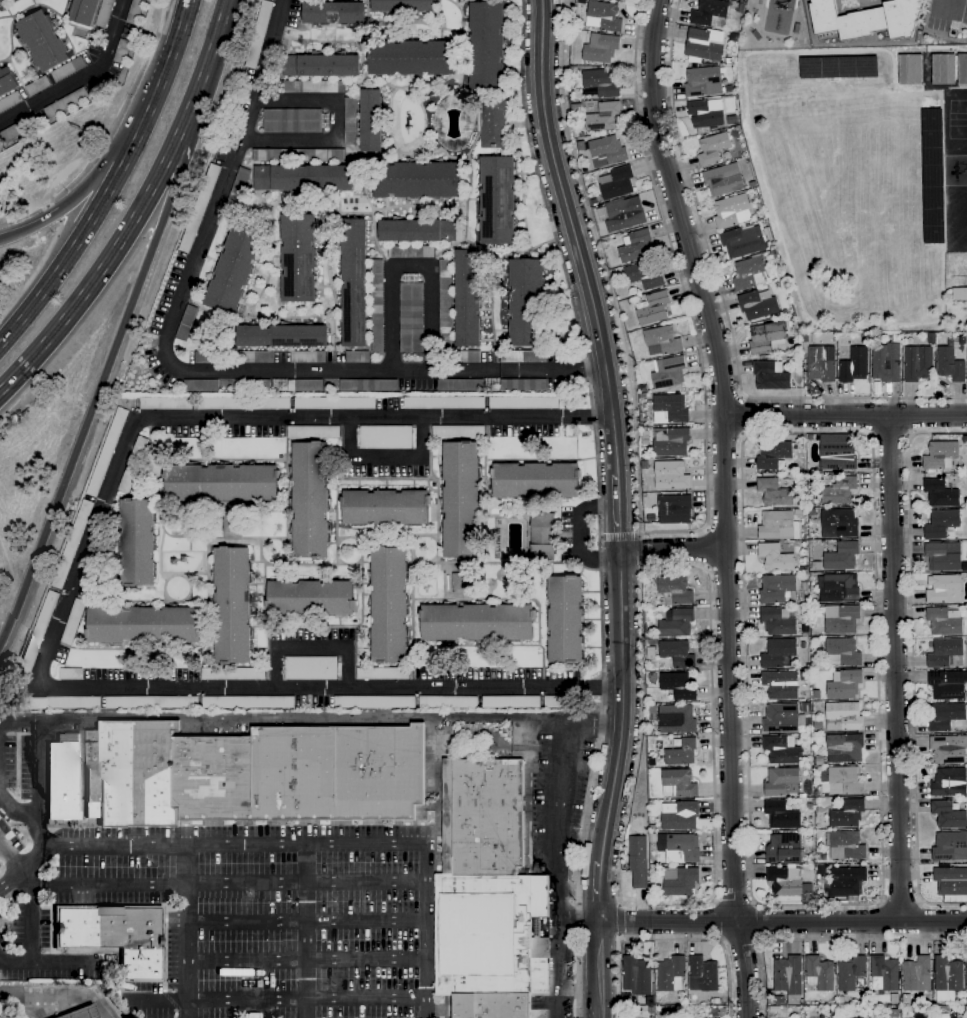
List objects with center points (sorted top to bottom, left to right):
building: (0, 0)
building: (0, 1)
road: (938, 1)
road: (949, 4)
building: (402, 6)
building: (739, 8)
building: (83, 11)
building: (134, 12)
building: (104, 13)
building: (334, 13)
building: (710, 13)
parking lot: (946, 13)
road: (161, 15)
building: (603, 16)
building: (866, 19)
building: (258, 34)
building: (42, 41)
building: (704, 45)
building: (486, 46)
building: (600, 48)
building: (121, 51)
building: (411, 58)
building: (320, 66)
building: (838, 67)
building: (67, 69)
building: (573, 69)
building: (943, 69)
building: (962, 69)
building: (909, 70)
road: (81, 78)
building: (7, 81)
building: (703, 82)
building: (599, 84)
building: (36, 86)
building: (309, 87)
building: (9, 101)
building: (65, 103)
building: (575, 108)
building: (706, 115)
building: (603, 117)
park: (958, 120)
building: (292, 121)
building: (350, 121)
building: (371, 121)
building: (494, 123)
road: (334, 127)
building: (16, 130)
building: (576, 131)
road: (102, 149)
building: (712, 149)
building: (604, 151)
building: (299, 155)
road: (102, 163)
building: (931, 176)
building: (302, 178)
building: (416, 180)
building: (723, 180)
road: (113, 182)
building: (616, 183)
building: (752, 184)
building: (238, 185)
building: (497, 200)
building: (594, 203)
building: (198, 208)
road: (137, 209)
road: (174, 210)
building: (731, 211)
road: (52, 214)
building: (621, 214)
building: (958, 224)
building: (417, 231)
road: (576, 239)
building: (741, 242)
building: (635, 246)
building: (411, 252)
building: (298, 258)
road: (410, 263)
building: (233, 269)
road: (33, 272)
building: (750, 273)
building: (644, 276)
building: (354, 283)
building: (959, 294)
building: (467, 298)
building: (526, 302)
building: (757, 305)
building: (377, 306)
building: (445, 308)
building: (653, 309)
road: (724, 309)
building: (411, 317)
building: (790, 317)
building: (186, 322)
building: (281, 336)
building: (966, 337)
building: (767, 338)
building: (864, 339)
building: (931, 339)
road: (116, 341)
building: (662, 341)
building: (255, 357)
building: (308, 357)
building: (356, 357)
building: (468, 357)
building: (523, 357)
building: (211, 358)
building: (818, 359)
building: (886, 363)
building: (918, 363)
building: (950, 365)
building: (854, 366)
road: (192, 371)
building: (668, 372)
building: (771, 376)
building: (522, 385)
building: (200, 386)
building: (252, 386)
building: (304, 386)
building: (368, 386)
building: (460, 386)
building: (642, 396)
building: (165, 403)
building: (244, 403)
building: (334, 403)
building: (443, 403)
building: (523, 403)
building: (669, 409)
road: (845, 415)
road: (740, 416)
building: (313, 432)
building: (458, 432)
road: (888, 435)
building: (386, 437)
building: (671, 442)
building: (107, 452)
building: (838, 452)
building: (644, 453)
building: (773, 454)
building: (940, 456)
road: (384, 458)
building: (133, 464)
building: (644, 465)
building: (671, 476)
building: (535, 480)
building: (221, 483)
building: (156, 485)
building: (839, 490)
building: (774, 492)
building: (940, 493)
building: (310, 500)
building: (460, 500)
road: (725, 504)
road: (597, 505)
building: (385, 507)
building: (674, 509)
building: (799, 513)
building: (811, 513)
road: (618, 515)
building: (839, 523)
building: (774, 524)
building: (941, 524)
building: (228, 525)
road: (669, 533)
road: (579, 534)
building: (542, 536)
road: (639, 536)
road: (618, 537)
building: (136, 542)
building: (72, 544)
road: (638, 550)
road: (673, 550)
building: (943, 556)
building: (842, 557)
building: (775, 558)
building: (802, 564)
road: (640, 565)
building: (816, 565)
building: (804, 569)
building: (459, 581)
building: (804, 582)
building: (942, 587)
building: (776, 588)
building: (837, 588)
building: (675, 590)
building: (310, 598)
road: (64, 604)
building: (231, 605)
building: (388, 606)
building: (565, 619)
building: (841, 620)
building: (777, 621)
building: (73, 622)
building: (477, 622)
building: (943, 622)
building: (676, 623)
building: (143, 625)
building: (805, 630)
building: (37, 634)
building: (803, 645)
road: (311, 647)
building: (844, 651)
building: (650, 652)
building: (777, 652)
building: (677, 654)
building: (946, 654)
road: (911, 661)
building: (310, 668)
road: (895, 668)
building: (71, 674)
building: (232, 674)
building: (382, 674)
building: (844, 684)
building: (947, 684)
building: (780, 685)
building: (678, 686)
building: (817, 695)
building: (150, 702)
building: (247, 702)
building: (375, 702)
building: (448, 702)
building: (511, 702)
building: (561, 702)
building: (59, 703)
road: (621, 706)
building: (805, 707)
building: (652, 709)
building: (843, 716)
road: (283, 717)
building: (945, 717)
building: (676, 719)
building: (782, 719)
road: (593, 725)
building: (818, 726)
building: (469, 732)
building: (649, 748)
building: (844, 749)
building: (948, 749)
building: (782, 750)
building: (467, 751)
building: (681, 753)
building: (818, 761)
building: (651, 762)
building: (252, 774)
building: (63, 777)
building: (782, 782)
building: (843, 782)
building: (949, 783)
road: (39, 784)
building: (678, 784)
building: (802, 796)
road: (16, 811)
building: (848, 813)
building: (781, 815)
building: (948, 815)
building: (681, 817)
building: (808, 837)
road: (235, 844)
building: (846, 846)
building: (679, 847)
building: (950, 847)
building: (784, 849)
road: (11, 856)
building: (638, 862)
road: (24, 867)
road: (556, 872)
building: (569, 874)
building: (680, 881)
building: (784, 881)
building: (847, 881)
building: (950, 881)
road: (228, 882)
road: (600, 891)
building: (487, 895)
road: (879, 900)
road: (900, 902)
road: (732, 903)
road: (694, 905)
road: (618, 906)
road: (31, 911)
road: (306, 919)
road: (618, 922)
road: (716, 922)
road: (782, 922)
road: (577, 923)
road: (757, 923)
road: (188, 930)
road: (425, 930)
road: (306, 931)
building: (116, 935)
road: (618, 937)
road: (826, 939)
road: (708, 940)
road: (741, 942)
road: (306, 959)
road: (14, 963)
road: (61, 963)
road: (600, 970)
building: (703, 973)
building: (850, 973)
building: (671, 974)
building: (819, 974)
building: (884, 974)
building: (966, 974)
building: (787, 975)
building: (916, 975)
building: (637, 976)
road: (616, 978)
building: (948, 978)
road: (61, 993)
road: (307, 997)
building: (626, 998)
building: (894, 999)
road: (162, 1000)
building: (779, 1000)
building: (771, 1009)
building: (82, 1013)
gas station: (82, 1013)
building: (893, 1013)
road: (3, 1014)
building: (249, 1015)
building: (832, 1015)

